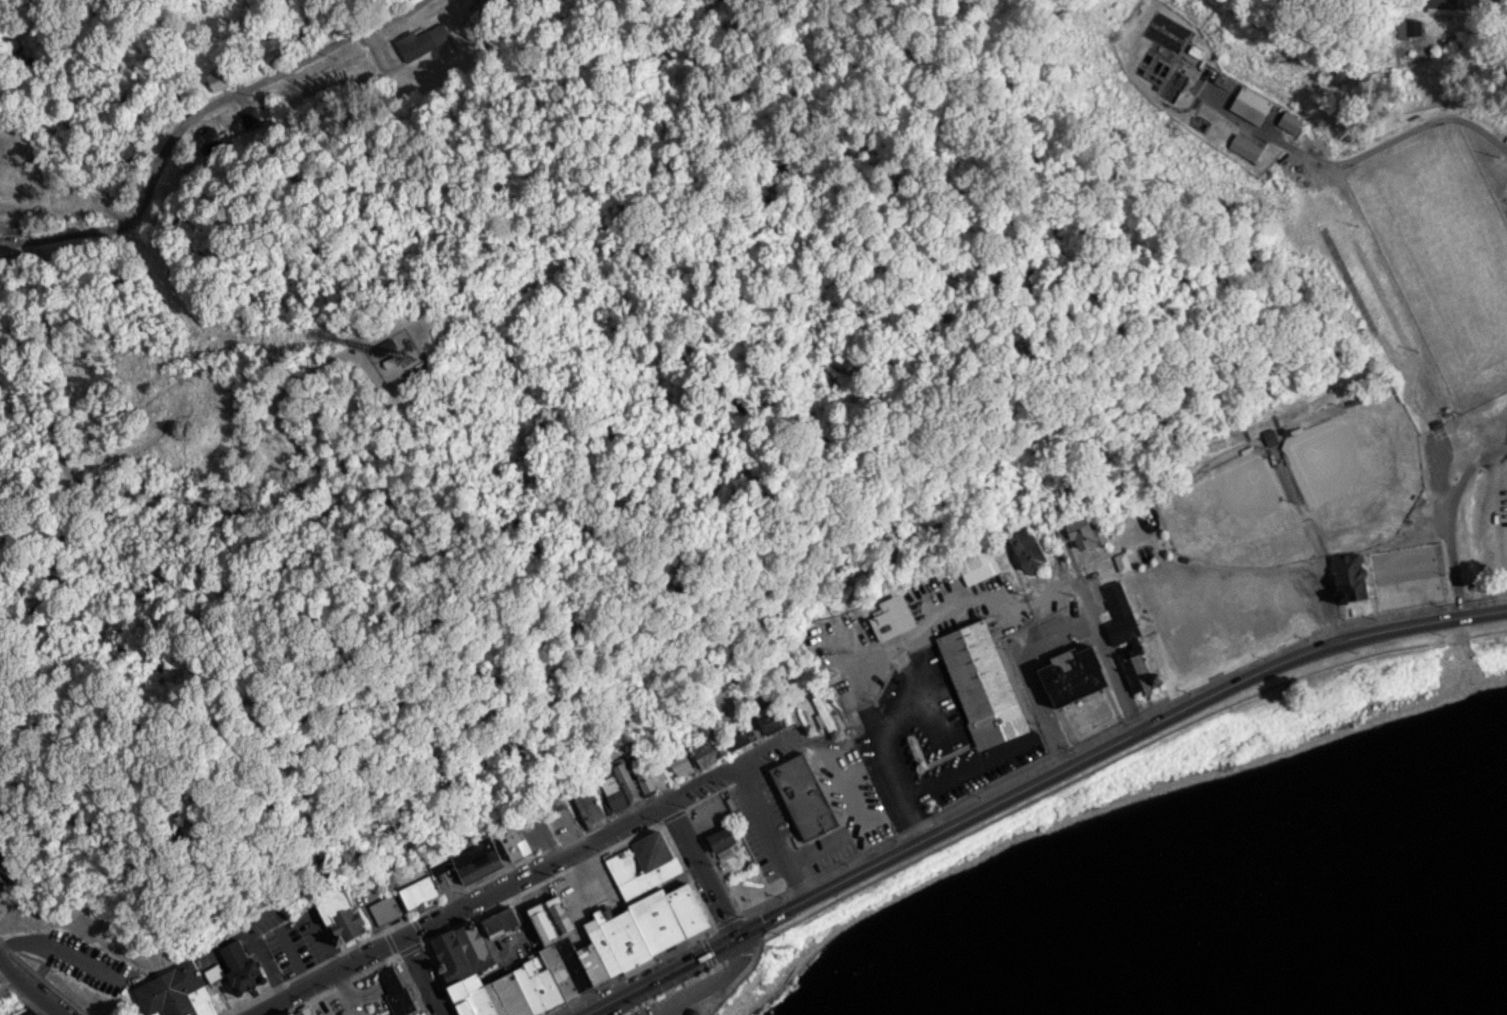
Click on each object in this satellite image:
building: (1434, 7)
building: (1398, 29)
building: (406, 51)
building: (269, 52)
building: (214, 81)
building: (1247, 105)
building: (1287, 122)
road: (178, 134)
building: (227, 136)
building: (1244, 147)
building: (131, 153)
building: (1505, 203)
park: (1444, 249)
road: (356, 269)
building: (378, 344)
park: (1357, 474)
road: (1446, 515)
park: (1233, 516)
building: (1078, 532)
park: (1141, 536)
park: (1281, 549)
building: (1026, 554)
building: (976, 566)
building: (1343, 576)
building: (889, 616)
building: (1124, 635)
road: (1108, 658)
building: (830, 671)
building: (1063, 677)
building: (975, 682)
building: (823, 709)
building: (766, 722)
building: (707, 746)
road: (1078, 775)
building: (623, 784)
road: (1034, 784)
building: (800, 794)
building: (585, 807)
road: (599, 838)
building: (510, 841)
building: (463, 860)
road: (700, 870)
building: (400, 898)
building: (334, 911)
building: (491, 921)
building: (644, 921)
road: (319, 972)
road: (422, 975)
road: (705, 982)
road: (30, 988)
building: (176, 991)
parking lot: (694, 991)
building: (397, 1000)
building: (20, 1011)
building: (298, 1011)
building: (33, 1014)
building: (34, 1014)
building: (419, 1014)

